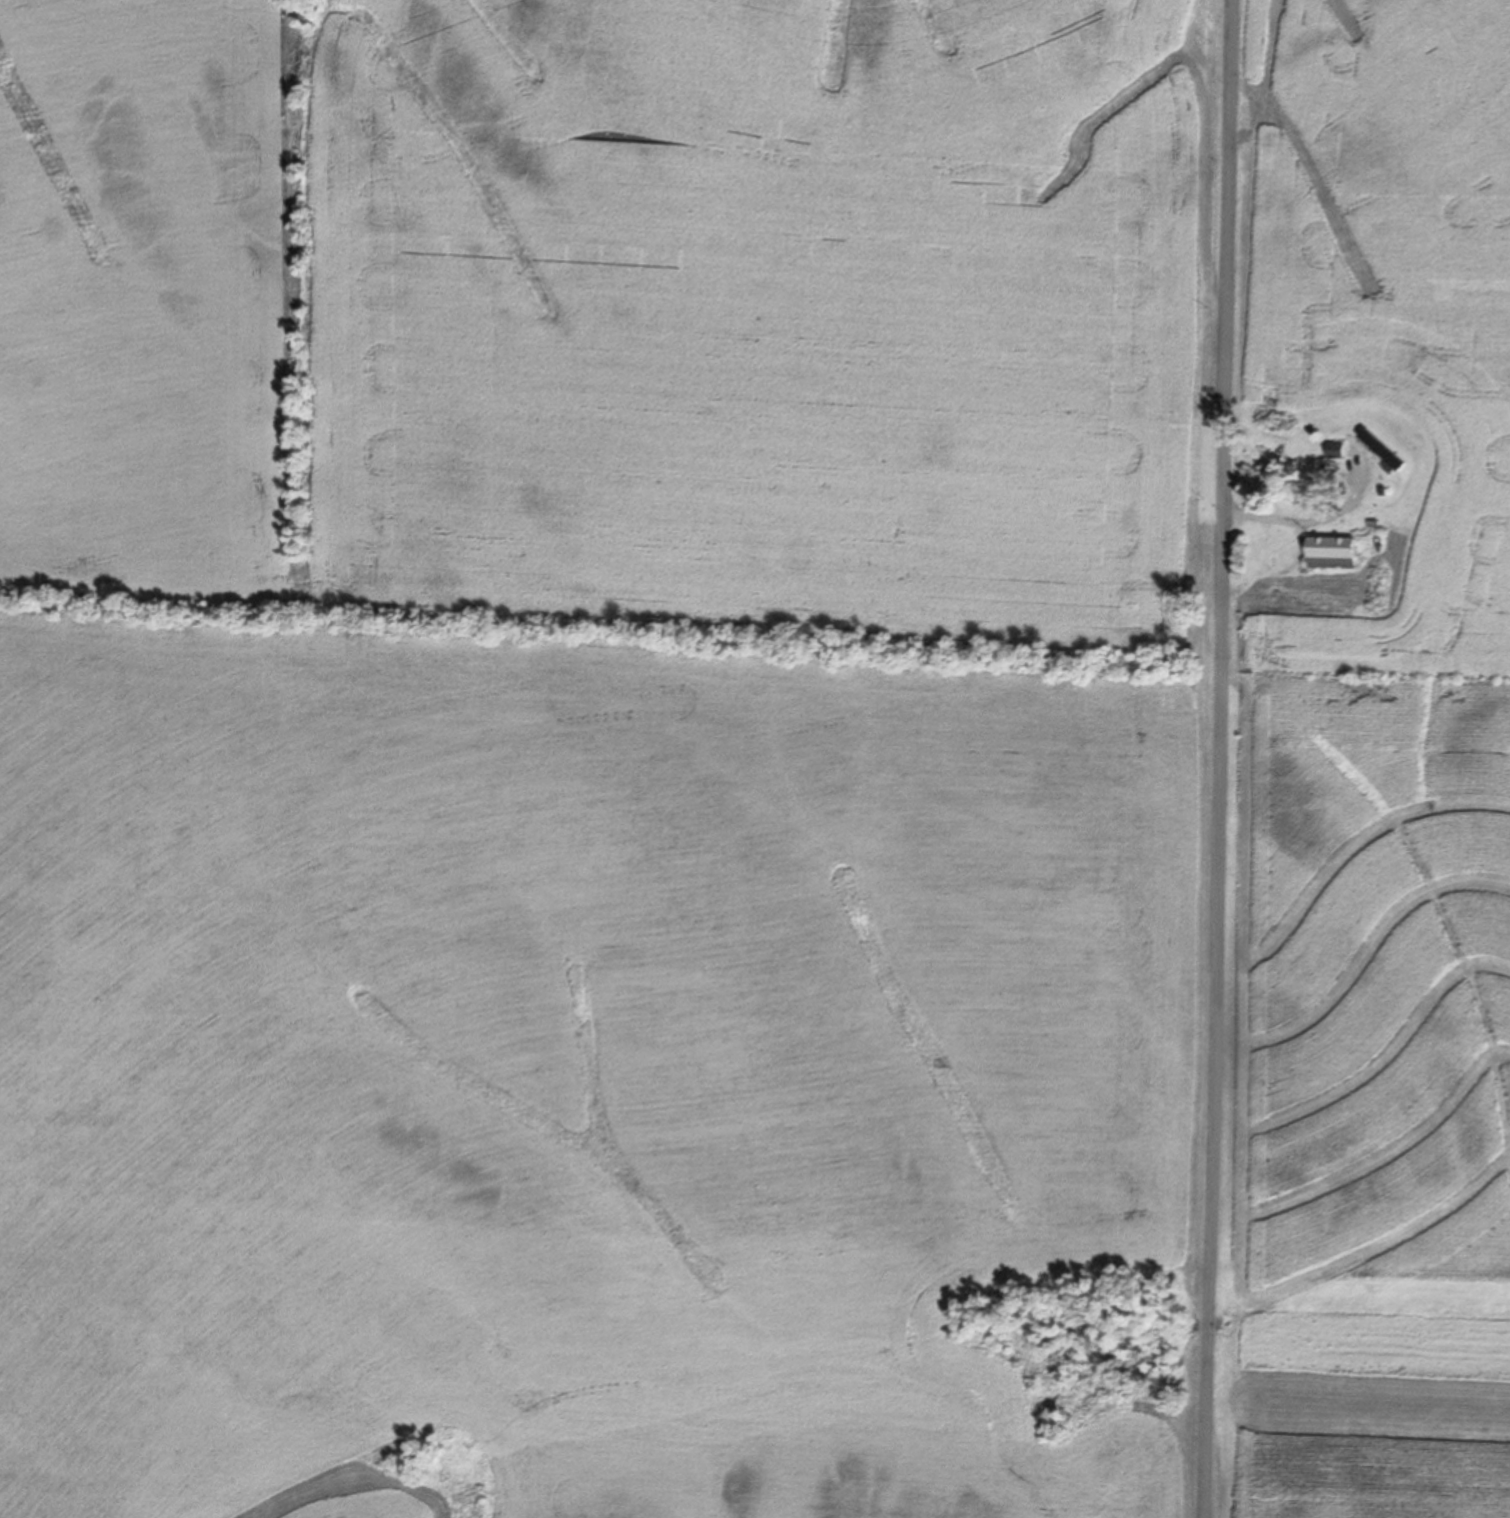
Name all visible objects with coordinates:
building: (1324, 473)
building: (1286, 548)
building: (1337, 553)
road: (1220, 759)

